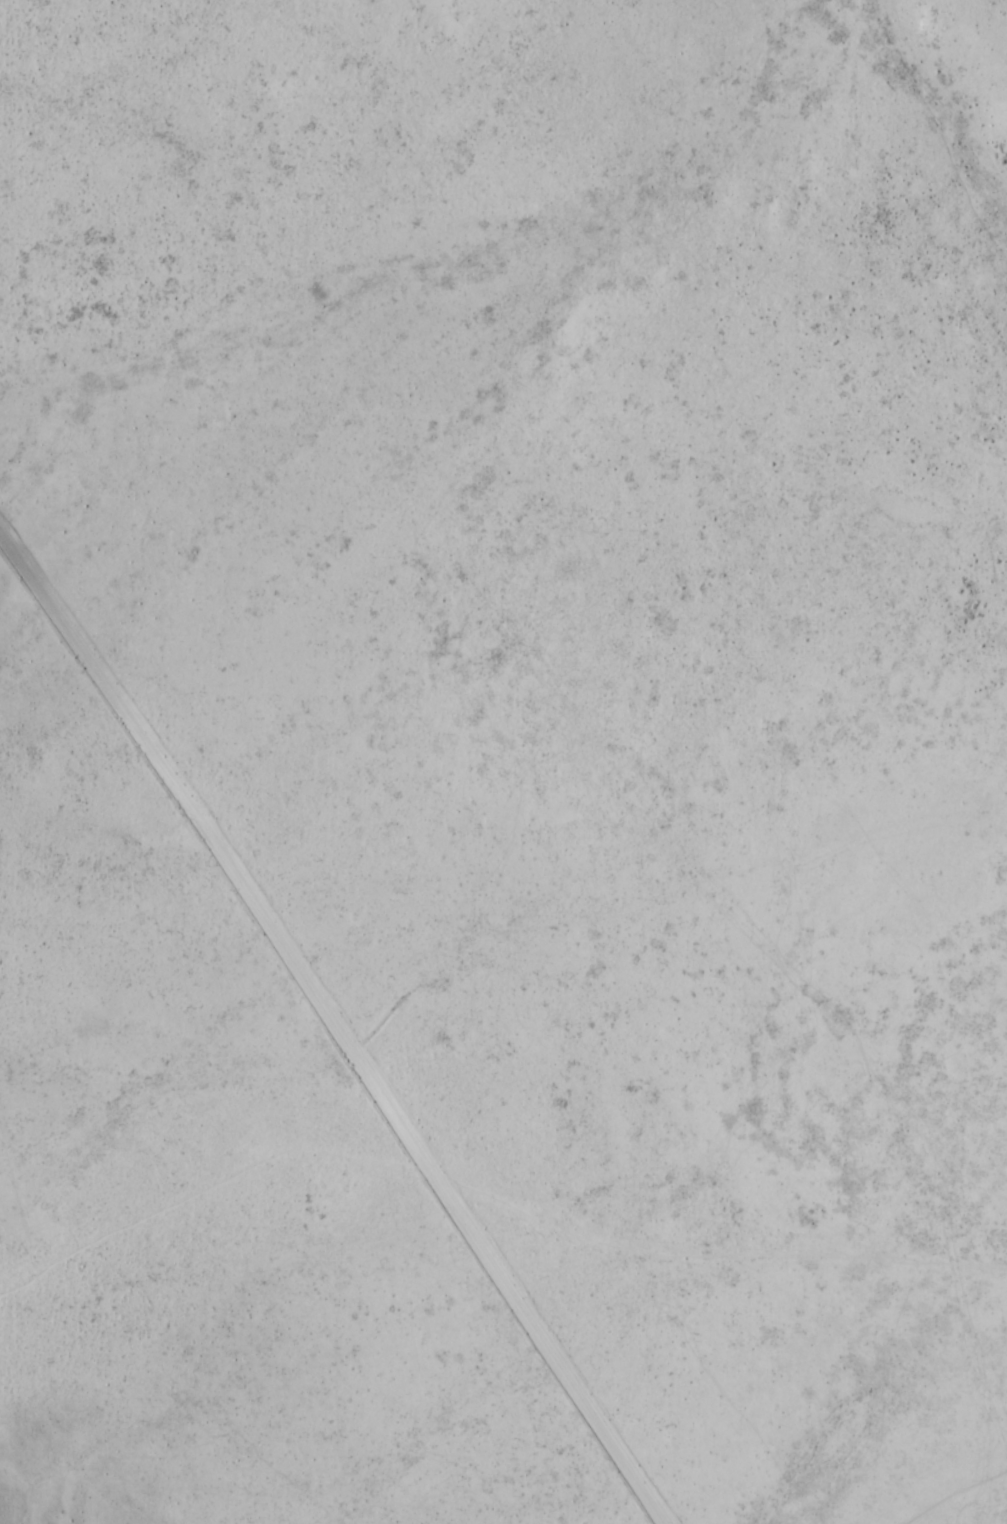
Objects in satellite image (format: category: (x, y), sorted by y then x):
road: (346, 1038)

